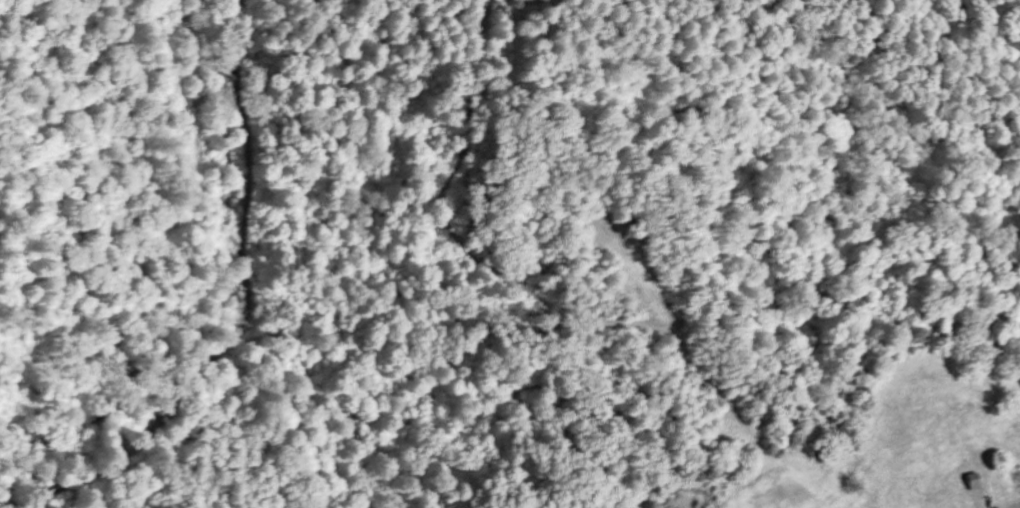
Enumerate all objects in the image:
building: (971, 484)
road: (930, 500)
road: (1006, 504)

